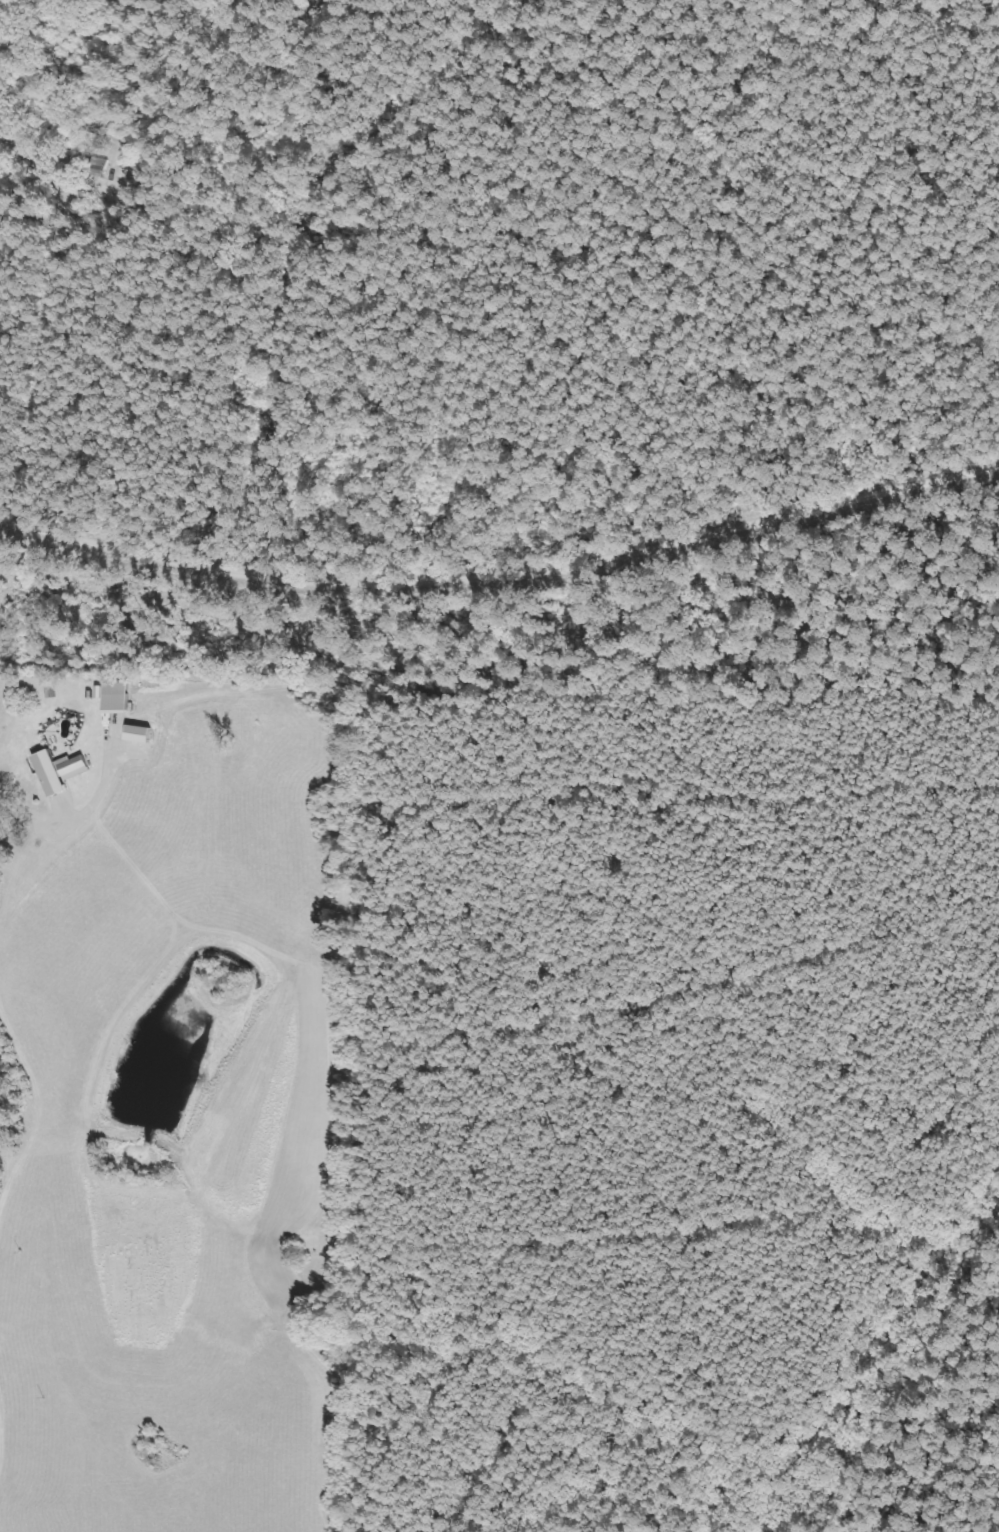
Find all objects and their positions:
road: (236, 294)
road: (500, 558)
building: (112, 699)
building: (54, 773)

